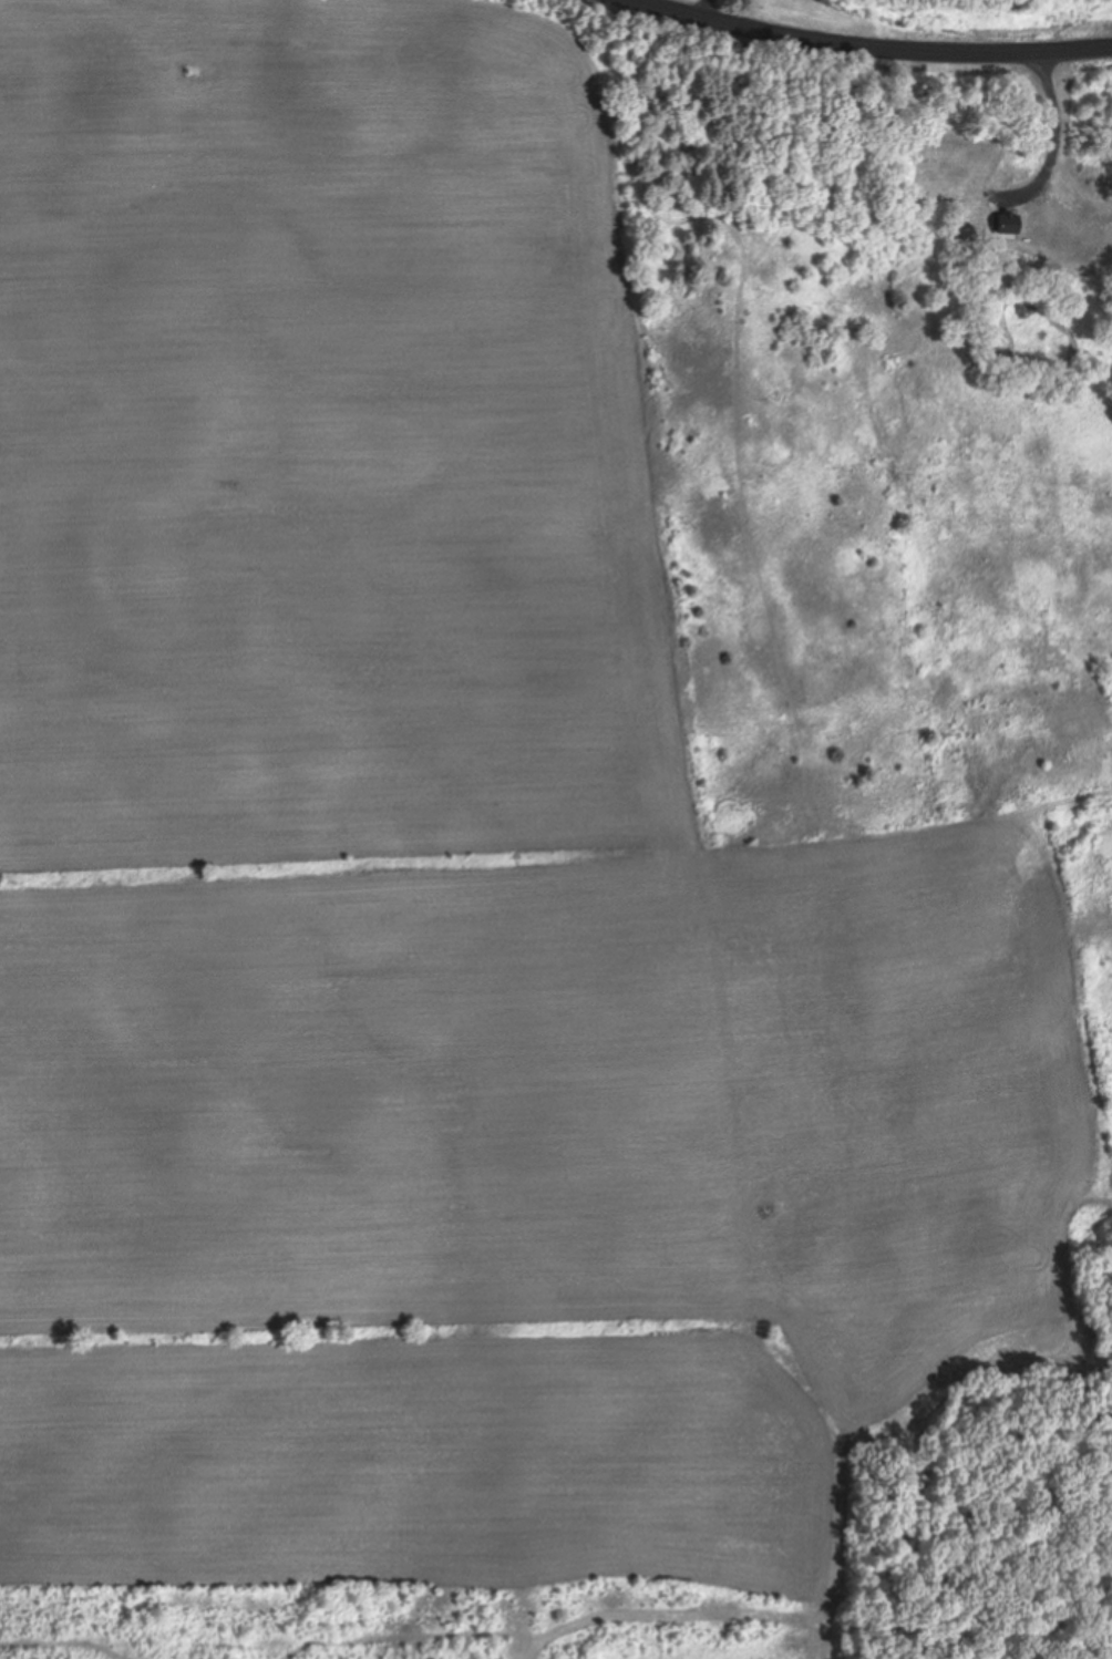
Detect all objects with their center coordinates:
road: (882, 40)
road: (1050, 106)
building: (951, 166)
building: (1081, 236)
crop: (504, 839)

